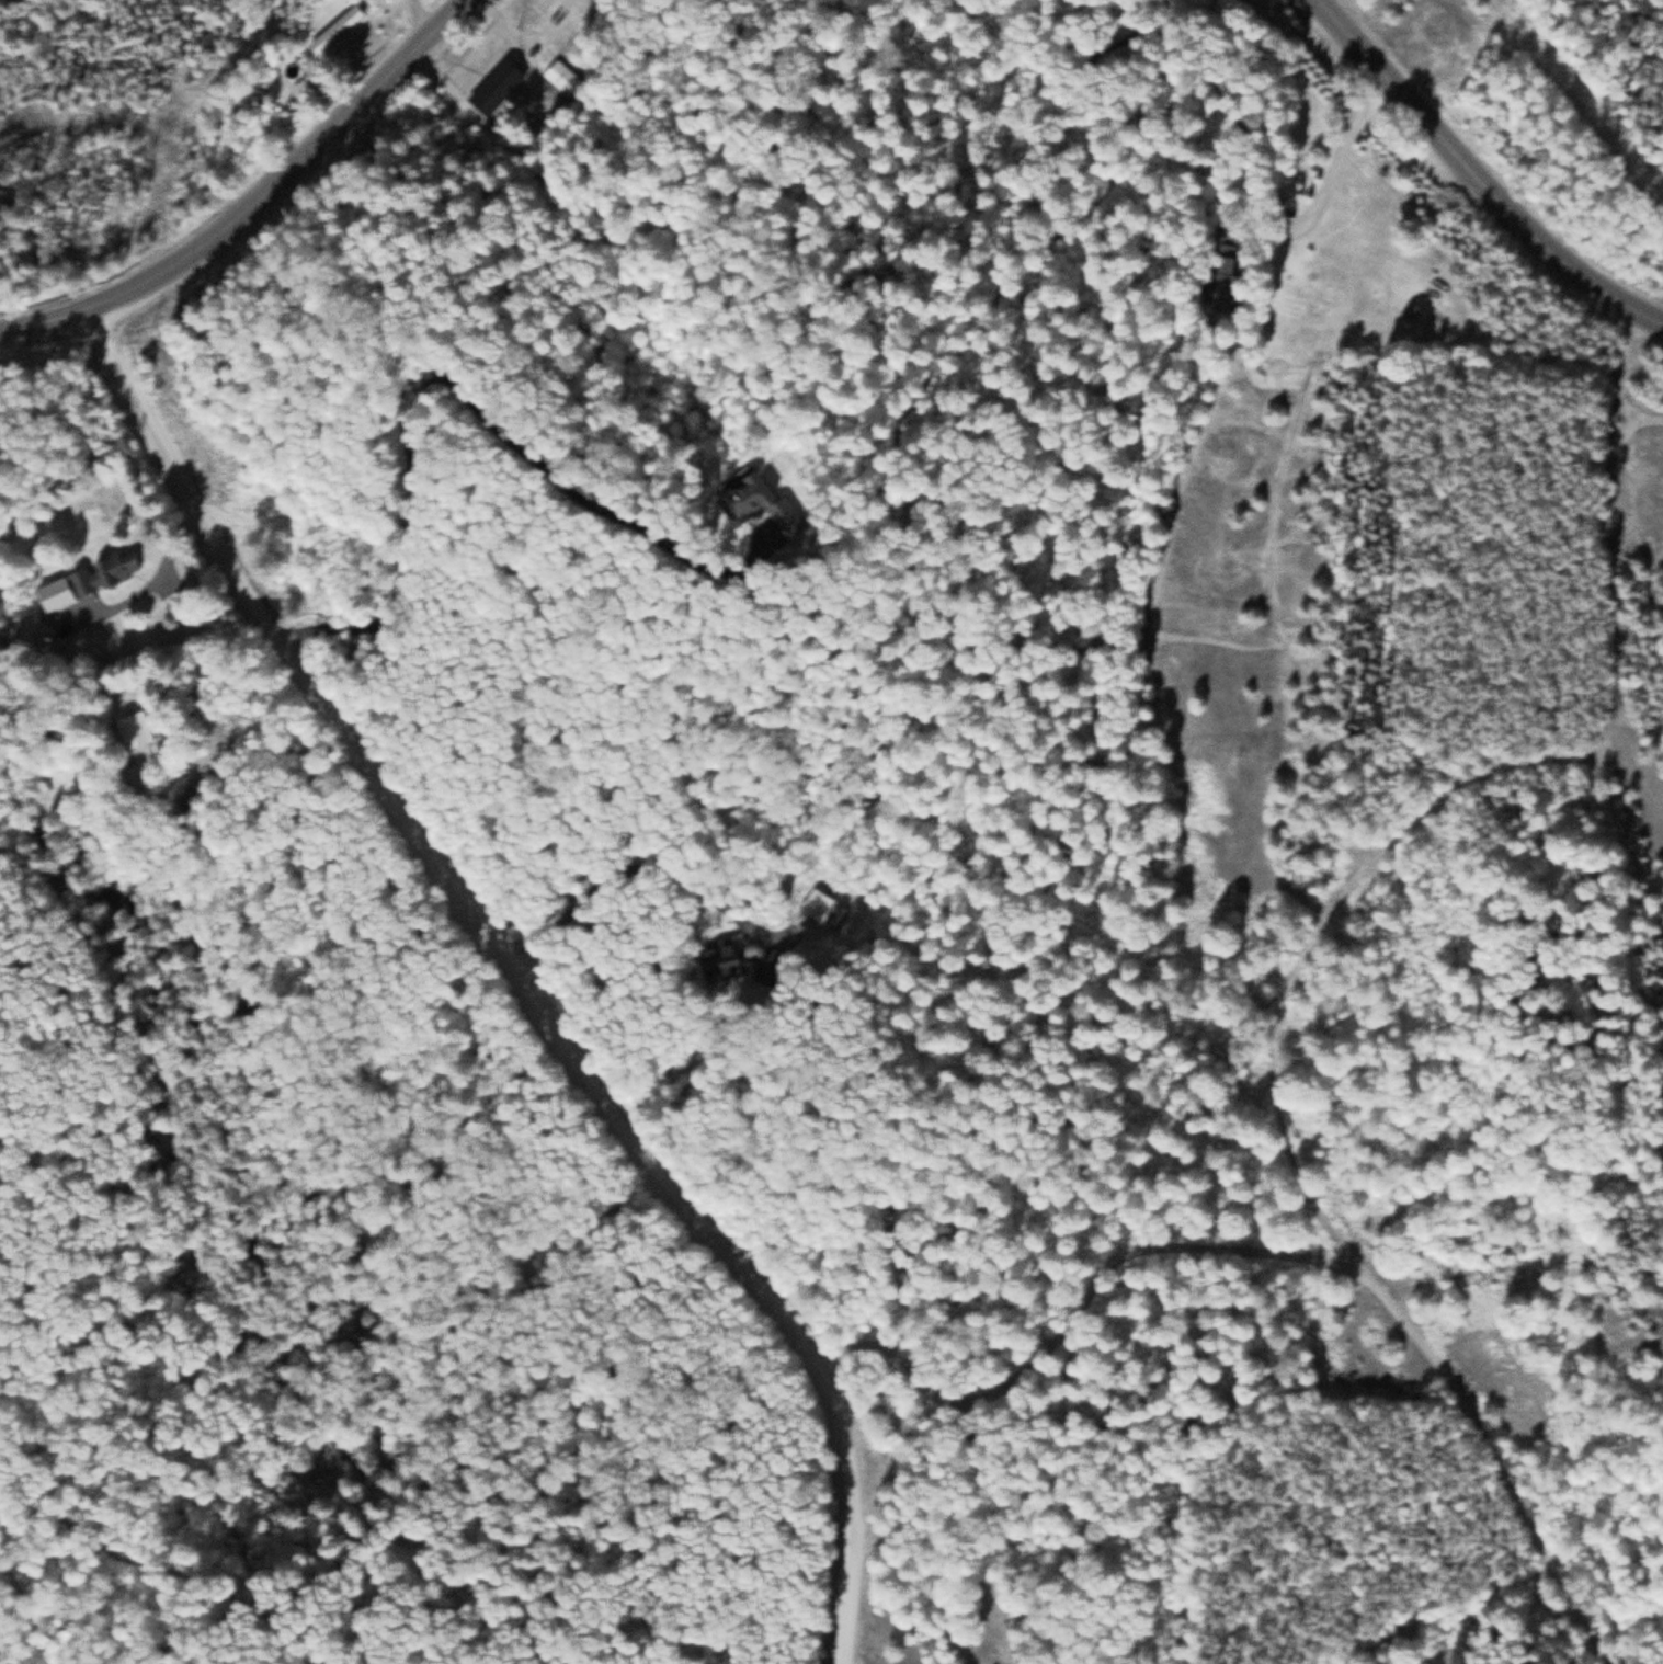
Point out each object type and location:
building: (338, 27)
building: (561, 75)
building: (503, 87)
road: (1480, 174)
road: (263, 205)
building: (111, 572)
building: (138, 729)
building: (729, 960)
road: (522, 976)

